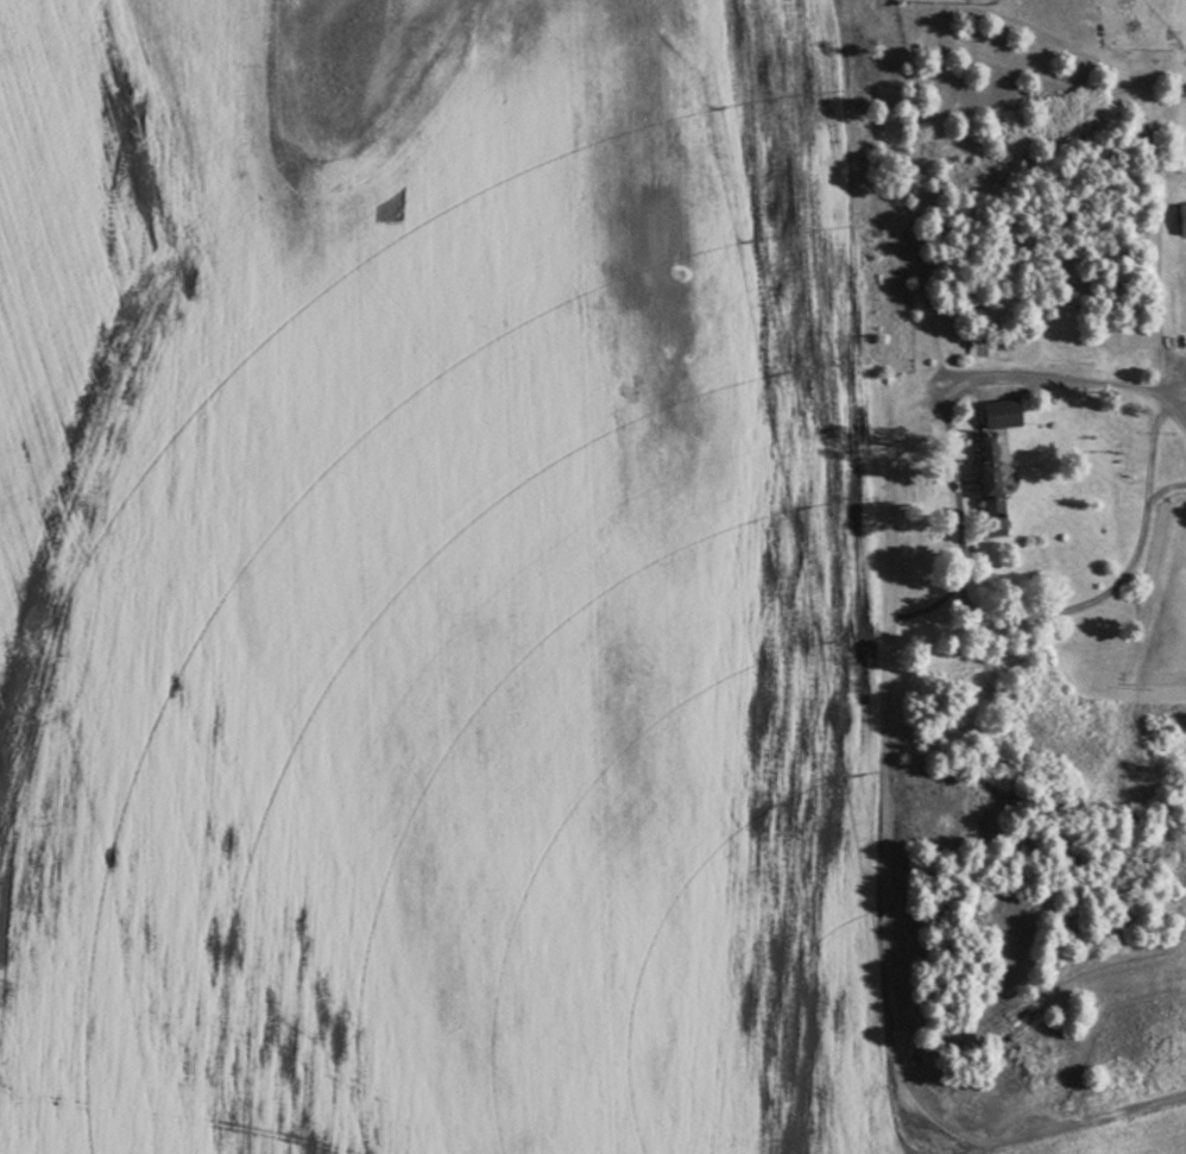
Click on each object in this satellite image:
road: (1160, 206)
building: (1185, 219)
building: (1005, 415)
building: (993, 466)
road: (961, 529)
road: (888, 757)
road: (971, 1146)

